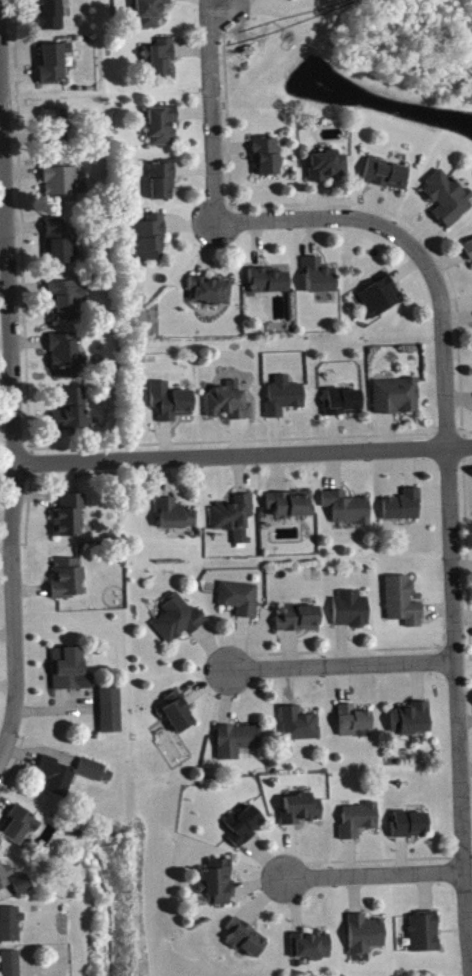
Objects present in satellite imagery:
building: (291, 0)
building: (151, 16)
building: (51, 18)
building: (160, 65)
building: (54, 68)
road: (0, 111)
road: (210, 111)
building: (161, 131)
building: (55, 133)
building: (266, 161)
building: (328, 171)
building: (386, 180)
building: (161, 187)
building: (61, 189)
building: (446, 203)
road: (2, 220)
building: (55, 233)
building: (150, 244)
building: (59, 256)
building: (469, 256)
building: (319, 282)
building: (268, 287)
building: (210, 296)
building: (378, 303)
building: (66, 306)
building: (66, 361)
building: (284, 402)
building: (396, 402)
building: (342, 407)
building: (229, 408)
building: (172, 410)
building: (75, 418)
road: (12, 421)
road: (242, 454)
road: (449, 505)
building: (290, 510)
building: (403, 512)
building: (347, 513)
building: (175, 520)
building: (70, 521)
building: (234, 522)
building: (68, 583)
building: (240, 604)
building: (402, 608)
building: (351, 615)
building: (299, 624)
building: (178, 625)
road: (344, 669)
building: (68, 674)
building: (111, 716)
building: (178, 719)
building: (411, 724)
building: (353, 726)
building: (300, 730)
building: (237, 746)
building: (94, 776)
building: (57, 782)
building: (301, 815)
building: (358, 825)
building: (20, 830)
building: (410, 830)
building: (244, 831)
road: (375, 879)
building: (5, 881)
building: (218, 887)
building: (22, 890)
building: (10, 929)
building: (424, 938)
building: (365, 940)
building: (246, 944)
building: (311, 951)
building: (11, 966)

